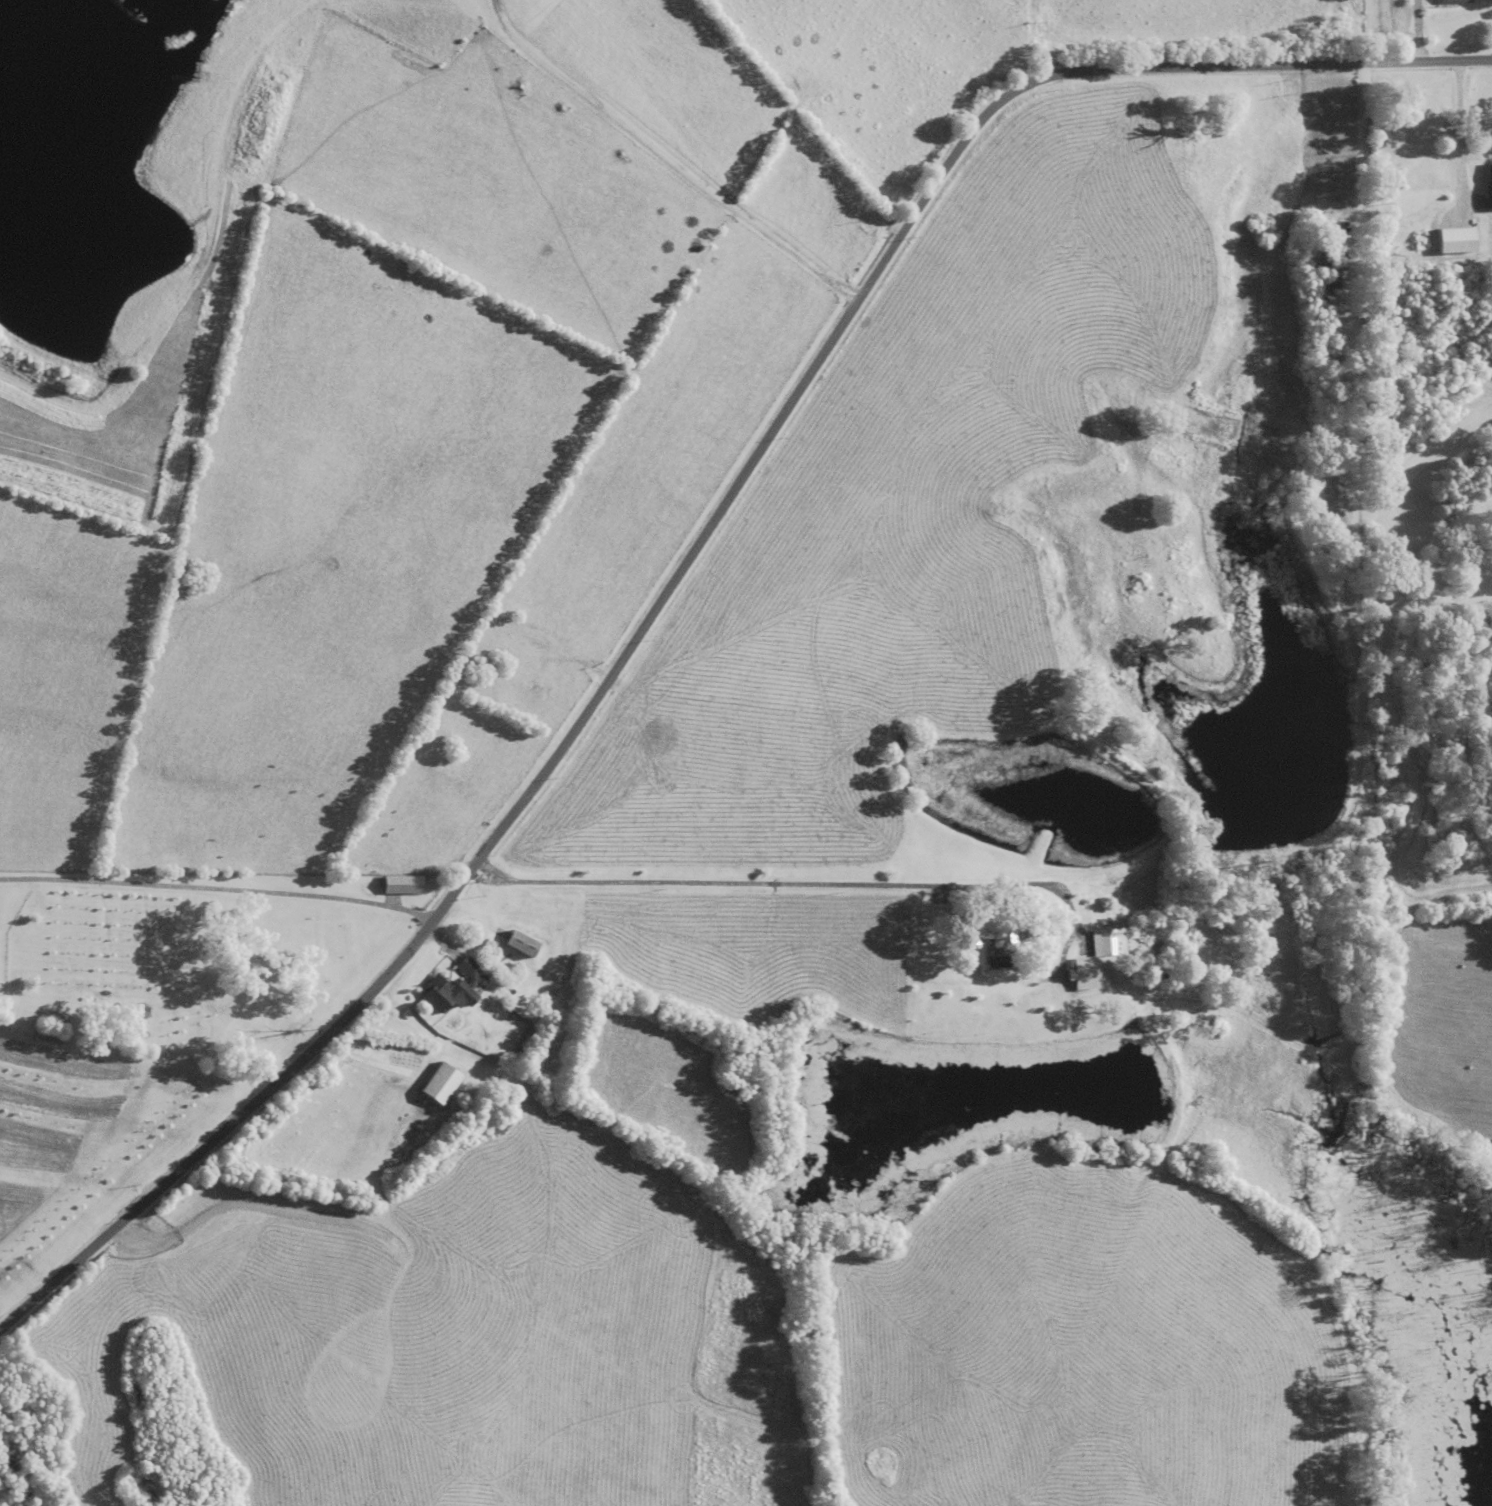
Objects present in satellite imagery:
building: (1455, 2)
road: (1366, 30)
road: (1467, 126)
road: (665, 157)
road: (694, 549)
building: (404, 886)
road: (217, 888)
road: (795, 888)
building: (996, 927)
building: (525, 945)
building: (1097, 960)
building: (454, 989)
building: (443, 1085)

